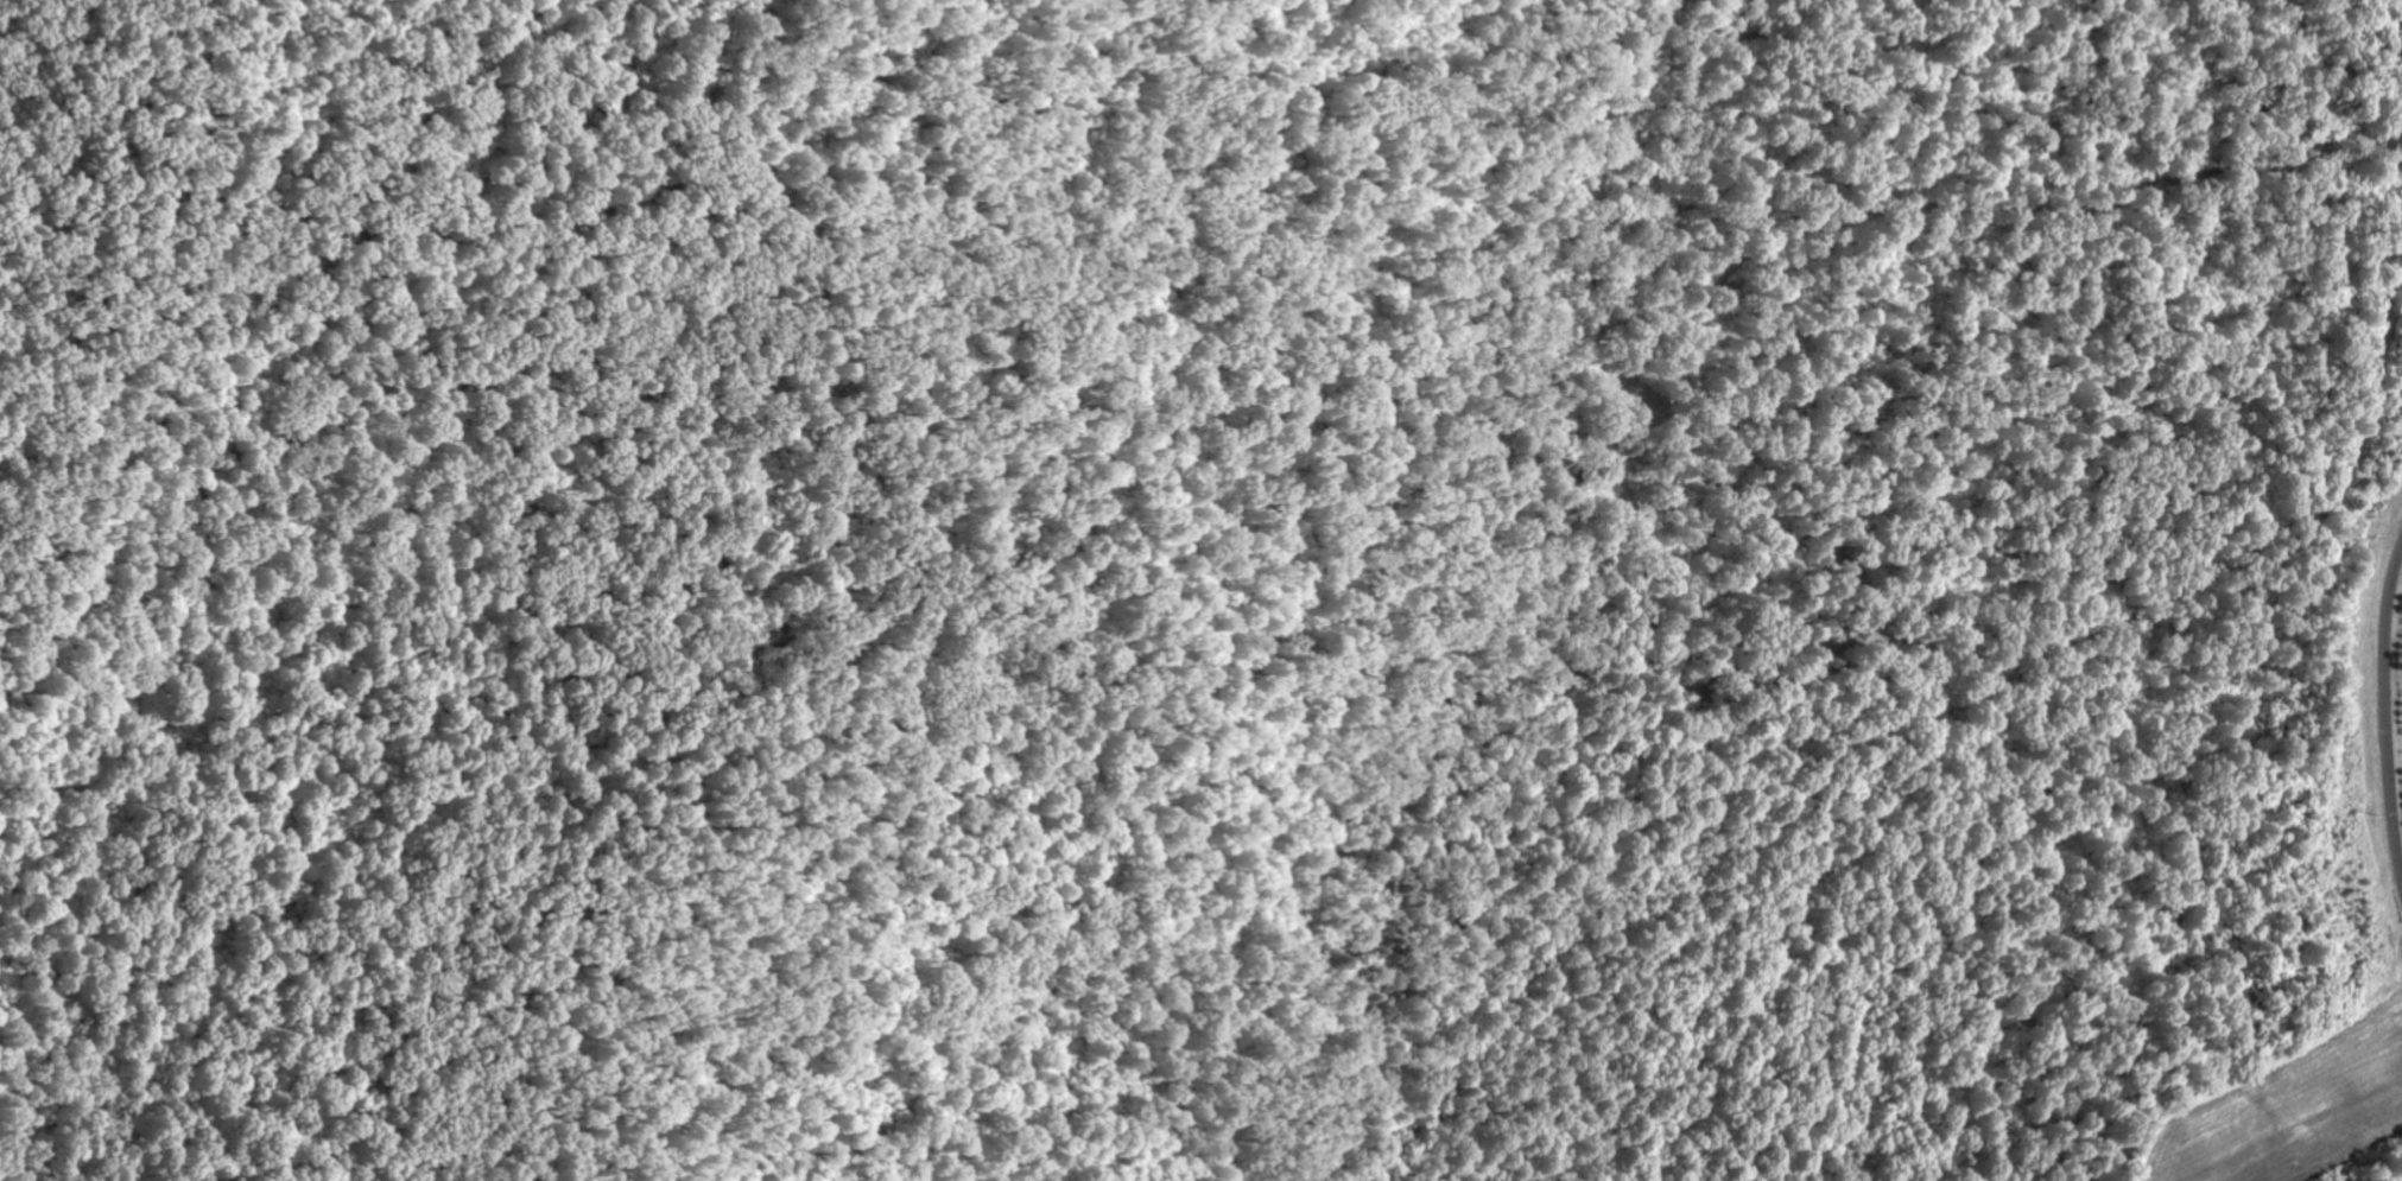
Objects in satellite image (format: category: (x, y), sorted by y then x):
road: (2382, 713)

